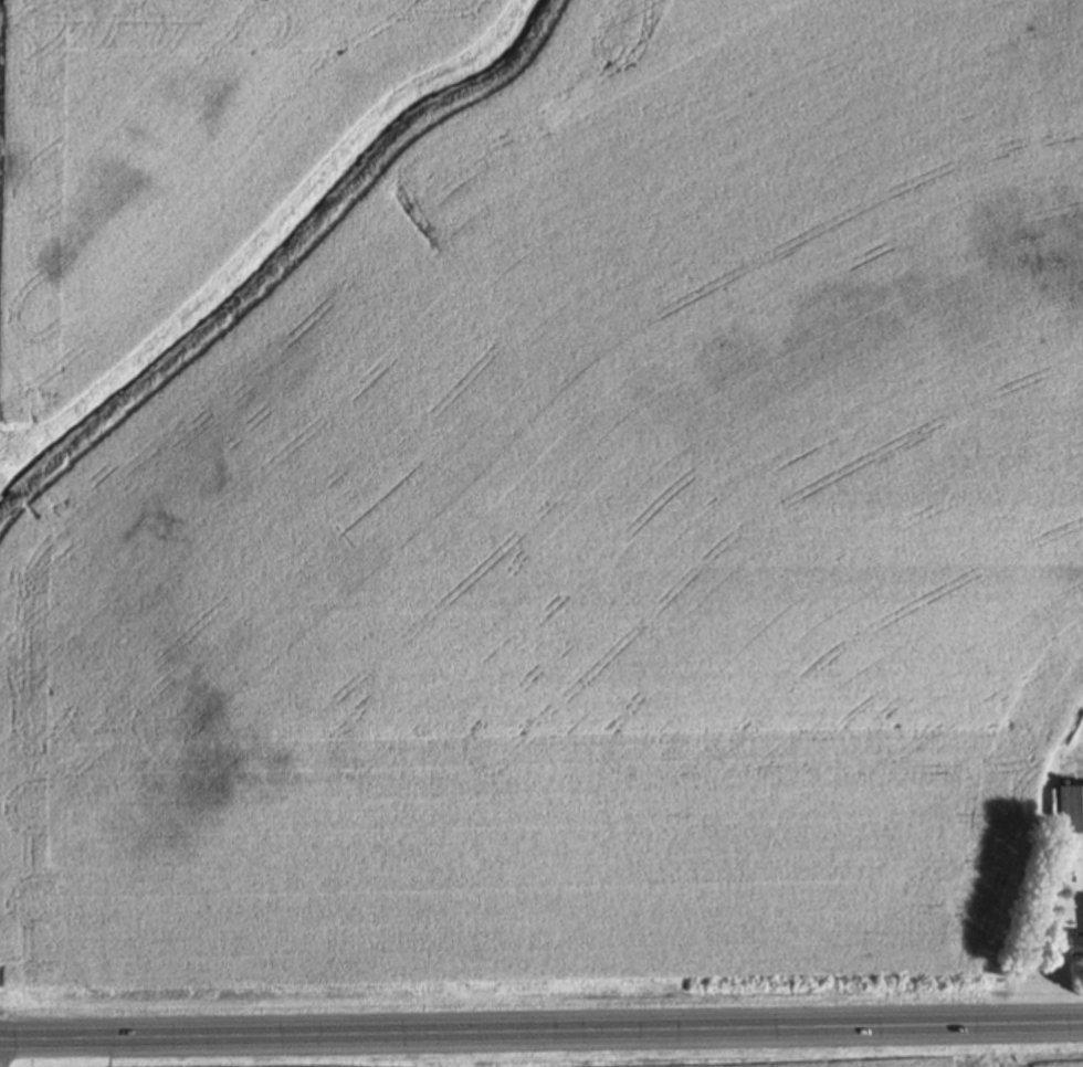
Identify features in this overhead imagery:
building: (1069, 815)
building: (1075, 945)
road: (540, 1034)

